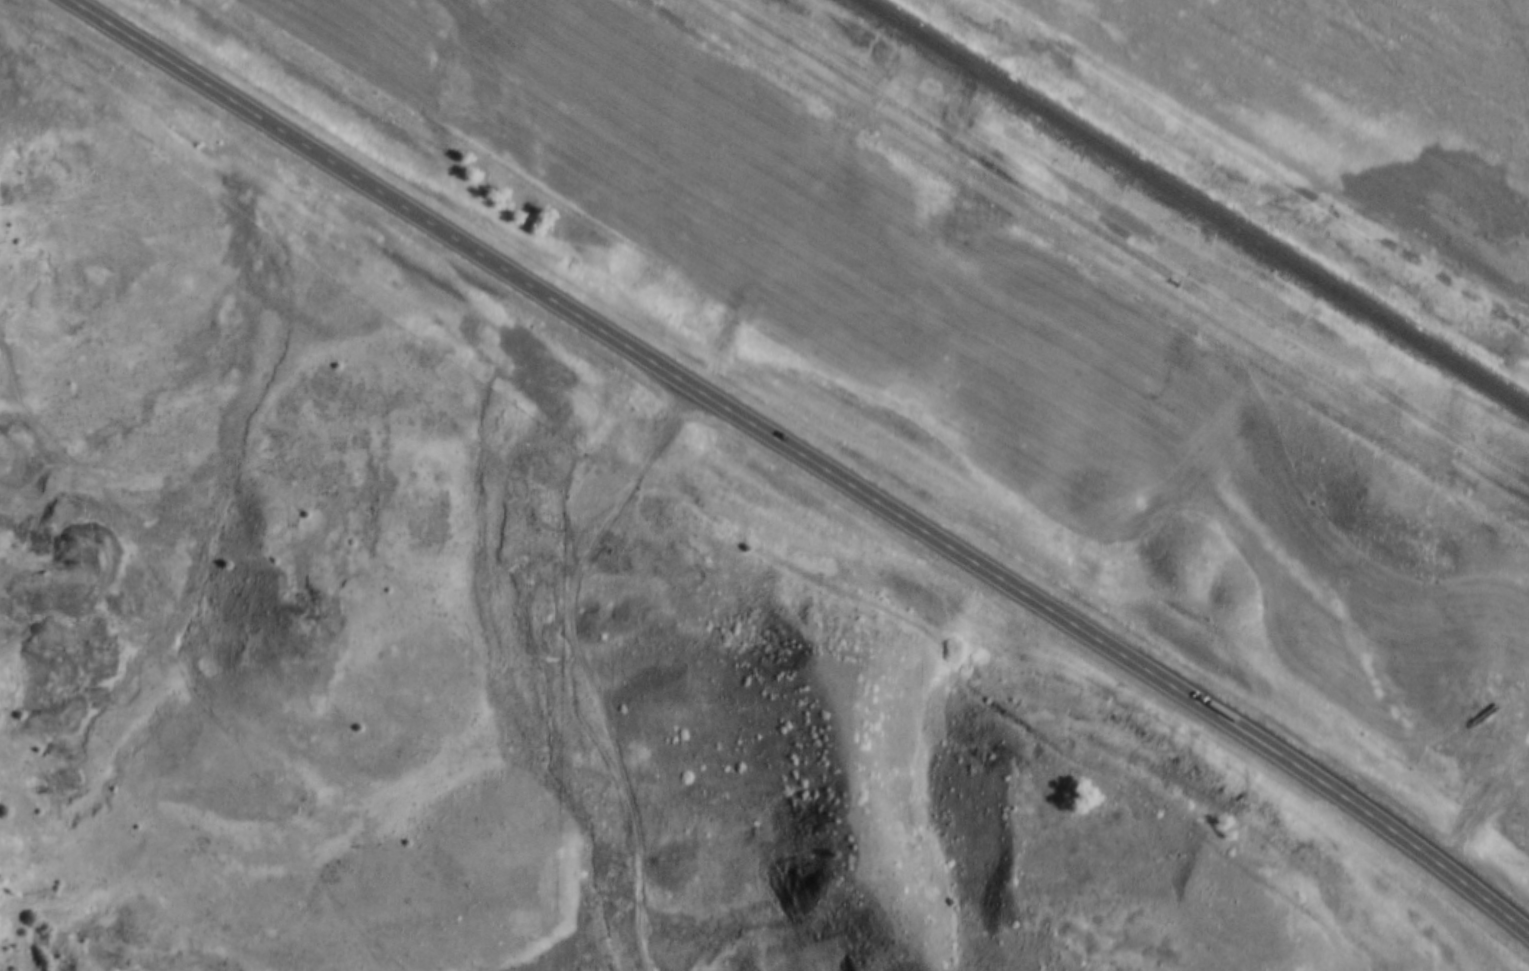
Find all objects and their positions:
railway: (1195, 204)
road: (1101, 261)
road: (23, 401)
road: (810, 458)
road: (587, 663)

